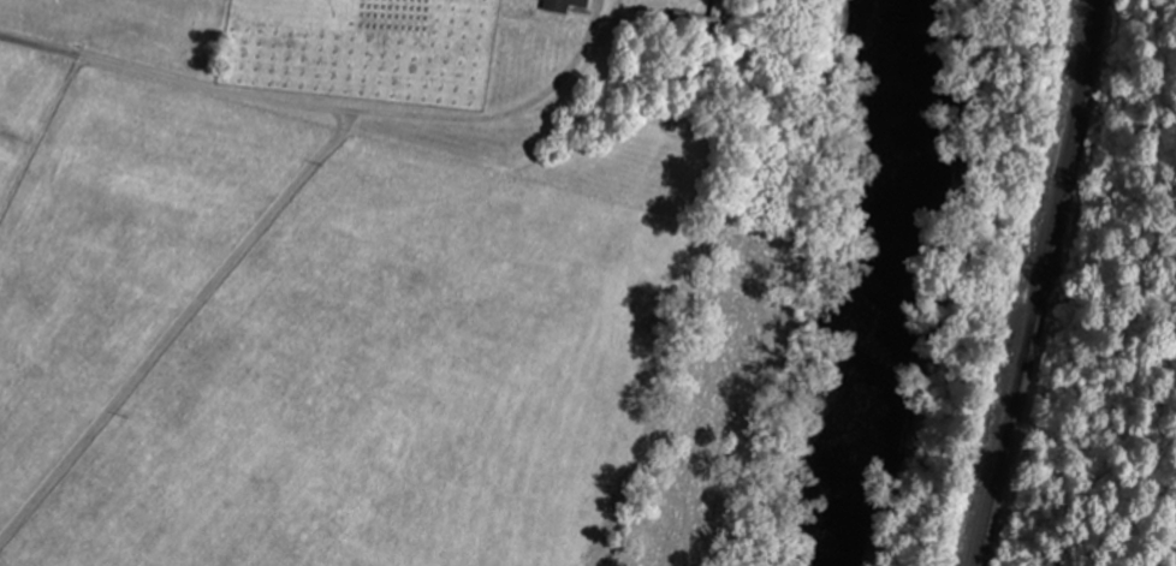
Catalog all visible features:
building: (564, 6)
river: (860, 282)
railway: (1039, 284)

